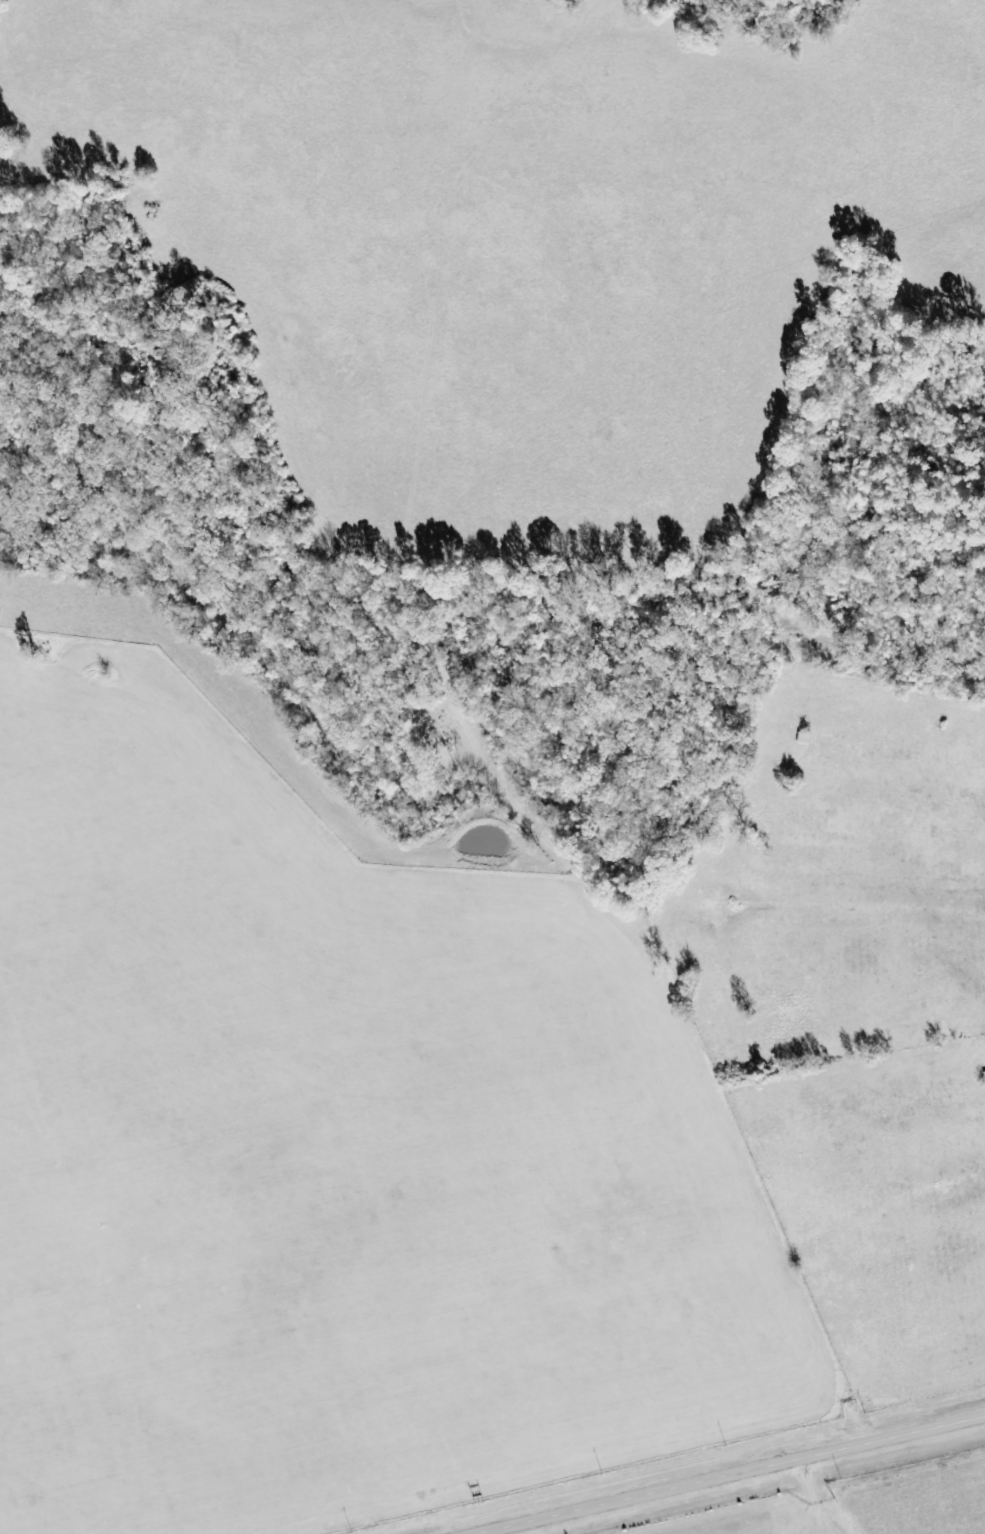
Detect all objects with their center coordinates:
road: (732, 1475)

